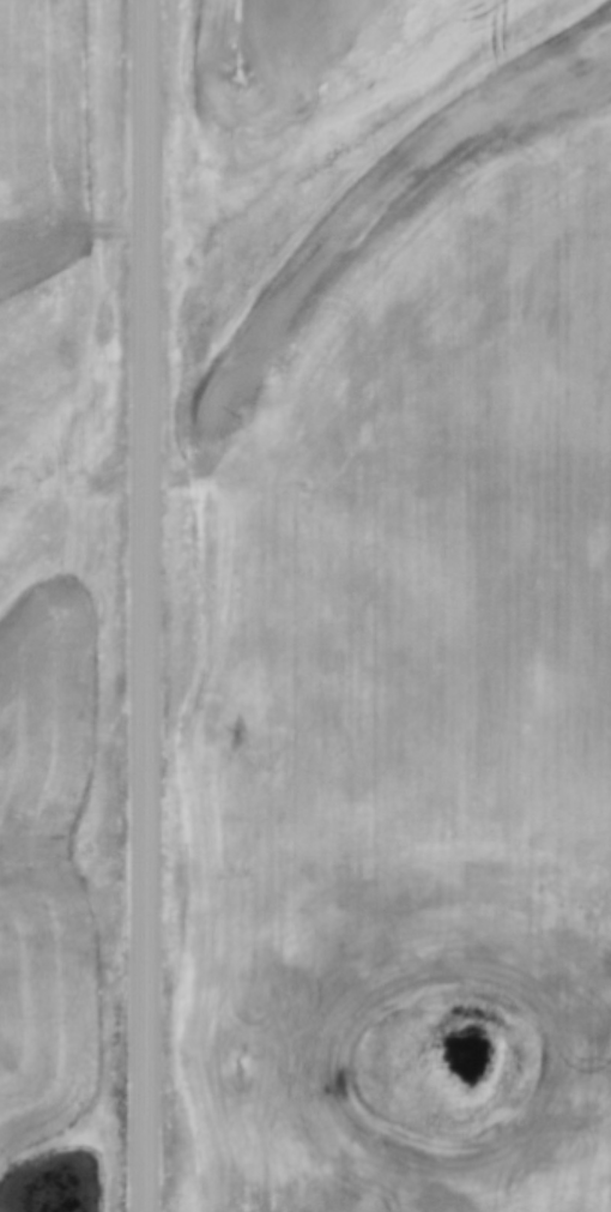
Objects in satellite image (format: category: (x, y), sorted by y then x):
road: (143, 605)

